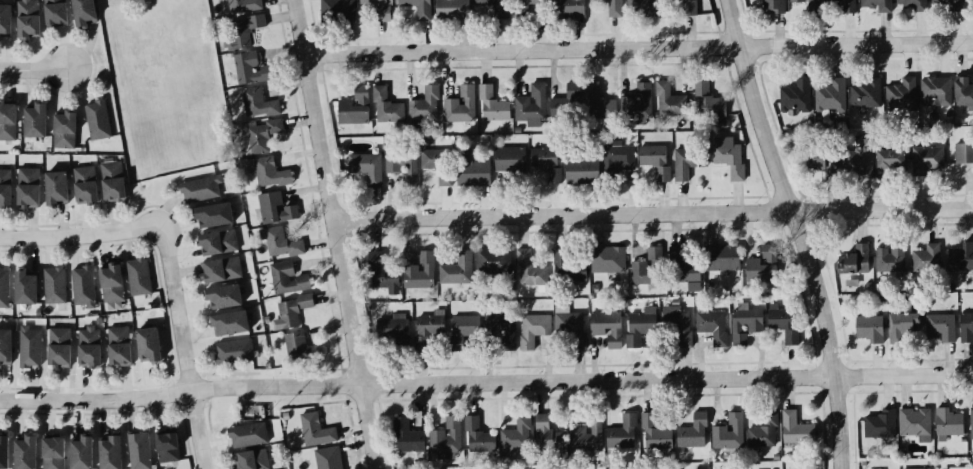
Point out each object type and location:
building: (970, 2)
building: (877, 5)
building: (947, 5)
building: (809, 6)
building: (843, 6)
building: (911, 6)
building: (244, 7)
building: (493, 7)
building: (772, 7)
building: (524, 8)
building: (532, 8)
building: (611, 8)
building: (685, 8)
building: (378, 9)
building: (418, 9)
building: (644, 9)
building: (567, 10)
building: (337, 11)
building: (452, 11)
building: (82, 13)
building: (53, 14)
building: (27, 20)
building: (5, 23)
building: (244, 31)
road: (638, 50)
road: (34, 70)
building: (250, 71)
building: (865, 94)
building: (935, 94)
building: (963, 94)
building: (902, 95)
building: (796, 98)
building: (830, 98)
building: (669, 102)
building: (708, 103)
building: (258, 105)
building: (566, 105)
building: (597, 105)
building: (354, 106)
building: (425, 106)
building: (492, 106)
building: (638, 106)
building: (461, 107)
building: (386, 108)
building: (530, 109)
building: (33, 122)
building: (97, 122)
building: (7, 123)
building: (63, 132)
building: (262, 137)
building: (964, 155)
building: (858, 158)
building: (619, 160)
building: (654, 160)
building: (816, 160)
building: (730, 161)
building: (928, 161)
building: (510, 162)
building: (688, 162)
building: (824, 162)
building: (547, 164)
building: (889, 164)
building: (402, 166)
building: (438, 166)
building: (366, 169)
building: (581, 172)
building: (270, 175)
building: (473, 175)
building: (112, 183)
building: (84, 187)
building: (5, 189)
building: (27, 190)
building: (55, 190)
building: (200, 191)
building: (275, 210)
road: (653, 214)
building: (212, 218)
road: (799, 231)
road: (335, 234)
road: (82, 237)
building: (217, 245)
building: (283, 246)
building: (961, 259)
building: (926, 260)
building: (856, 261)
building: (890, 261)
building: (608, 262)
building: (493, 263)
building: (570, 266)
building: (721, 266)
building: (768, 266)
building: (648, 270)
building: (457, 271)
building: (221, 272)
building: (529, 272)
building: (686, 273)
building: (420, 274)
building: (384, 278)
building: (138, 279)
building: (287, 280)
building: (110, 285)
building: (54, 288)
building: (83, 288)
building: (25, 289)
building: (4, 290)
building: (222, 299)
building: (114, 308)
building: (292, 312)
building: (785, 325)
building: (228, 326)
building: (744, 327)
building: (430, 328)
building: (712, 328)
building: (571, 329)
building: (607, 329)
building: (638, 329)
building: (678, 329)
building: (903, 329)
building: (966, 329)
building: (501, 330)
building: (533, 330)
building: (941, 330)
building: (392, 331)
building: (869, 331)
building: (462, 332)
building: (147, 347)
road: (183, 347)
building: (5, 349)
building: (29, 349)
building: (58, 349)
building: (88, 349)
building: (118, 349)
building: (296, 349)
building: (233, 354)
road: (486, 382)
building: (915, 424)
building: (971, 425)
building: (880, 426)
building: (948, 426)
building: (796, 431)
building: (315, 432)
building: (764, 433)
building: (693, 434)
building: (728, 434)
building: (623, 435)
building: (654, 435)
building: (587, 436)
building: (247, 437)
building: (517, 437)
building: (548, 437)
building: (408, 438)
building: (446, 439)
building: (478, 439)
building: (166, 449)
building: (138, 451)
building: (4, 453)
building: (24, 454)
building: (53, 454)
building: (80, 454)
building: (108, 454)
building: (328, 459)
building: (251, 461)

